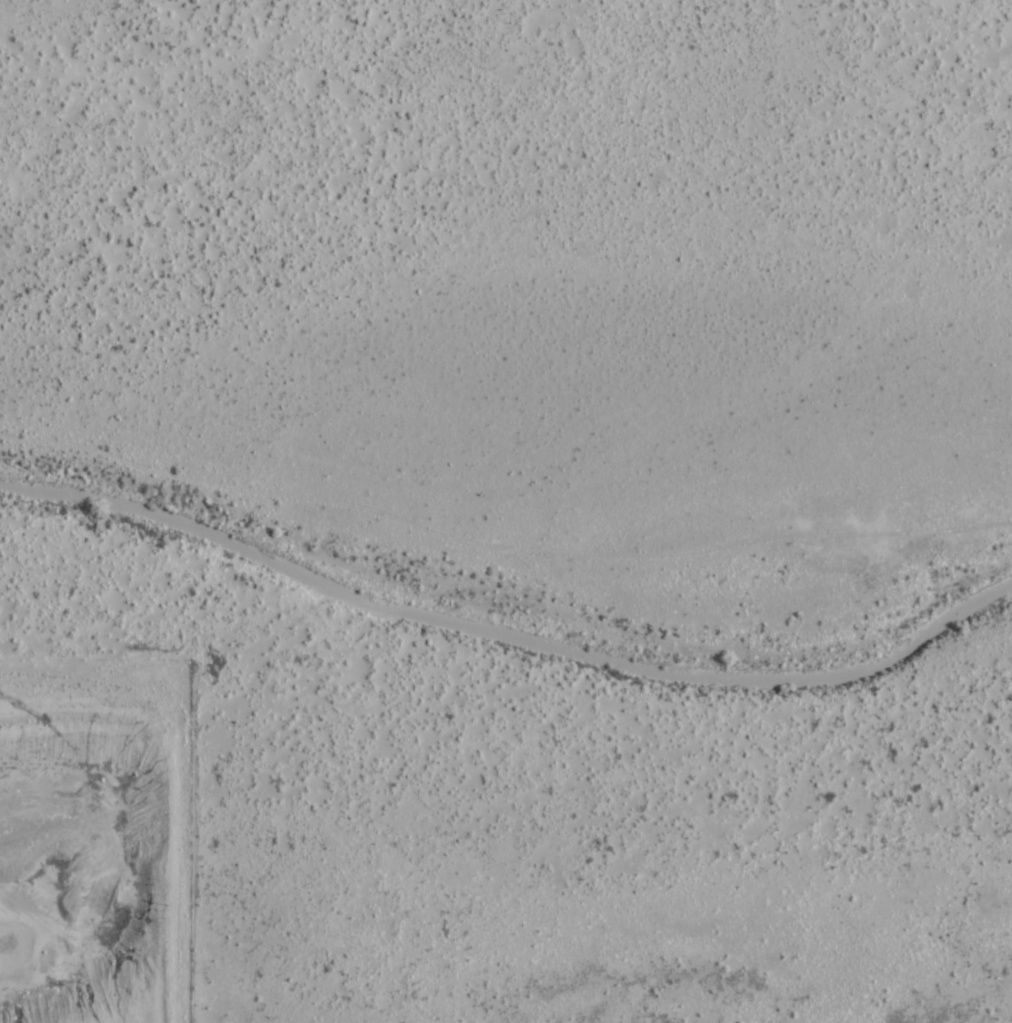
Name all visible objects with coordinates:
river: (509, 619)

